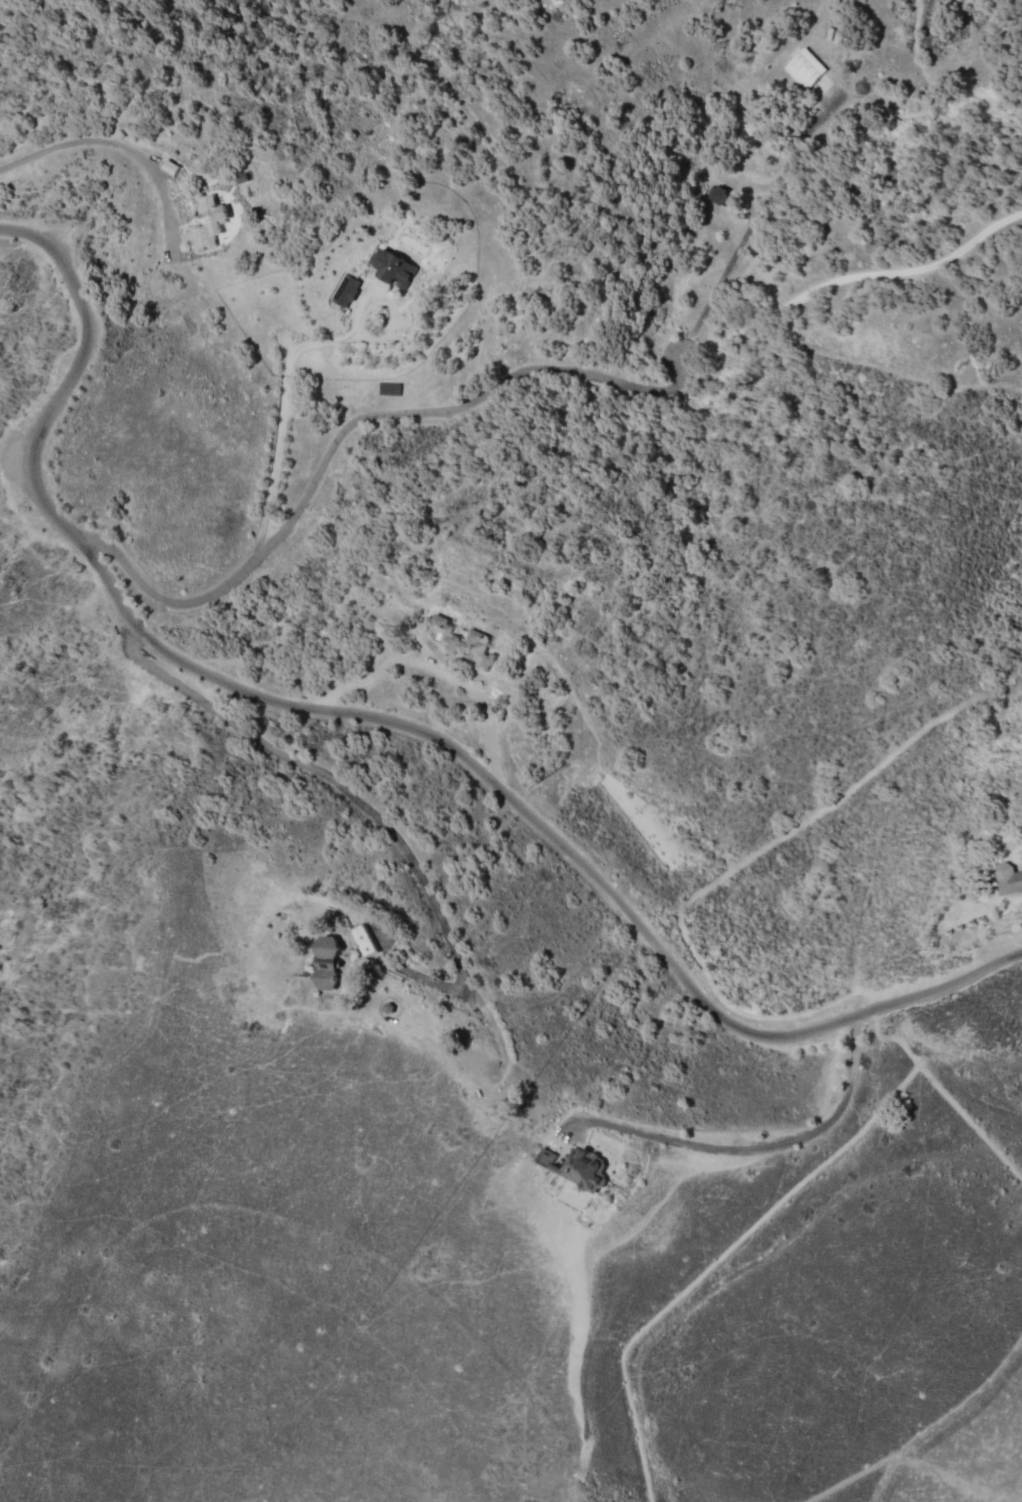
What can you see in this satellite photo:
road: (237, 24)
building: (807, 72)
road: (427, 153)
building: (718, 195)
building: (220, 217)
building: (392, 268)
building: (345, 291)
road: (741, 423)
road: (718, 435)
road: (8, 441)
road: (366, 479)
road: (424, 563)
building: (460, 642)
building: (1007, 879)
building: (363, 940)
building: (328, 964)
building: (545, 1157)
building: (581, 1168)

